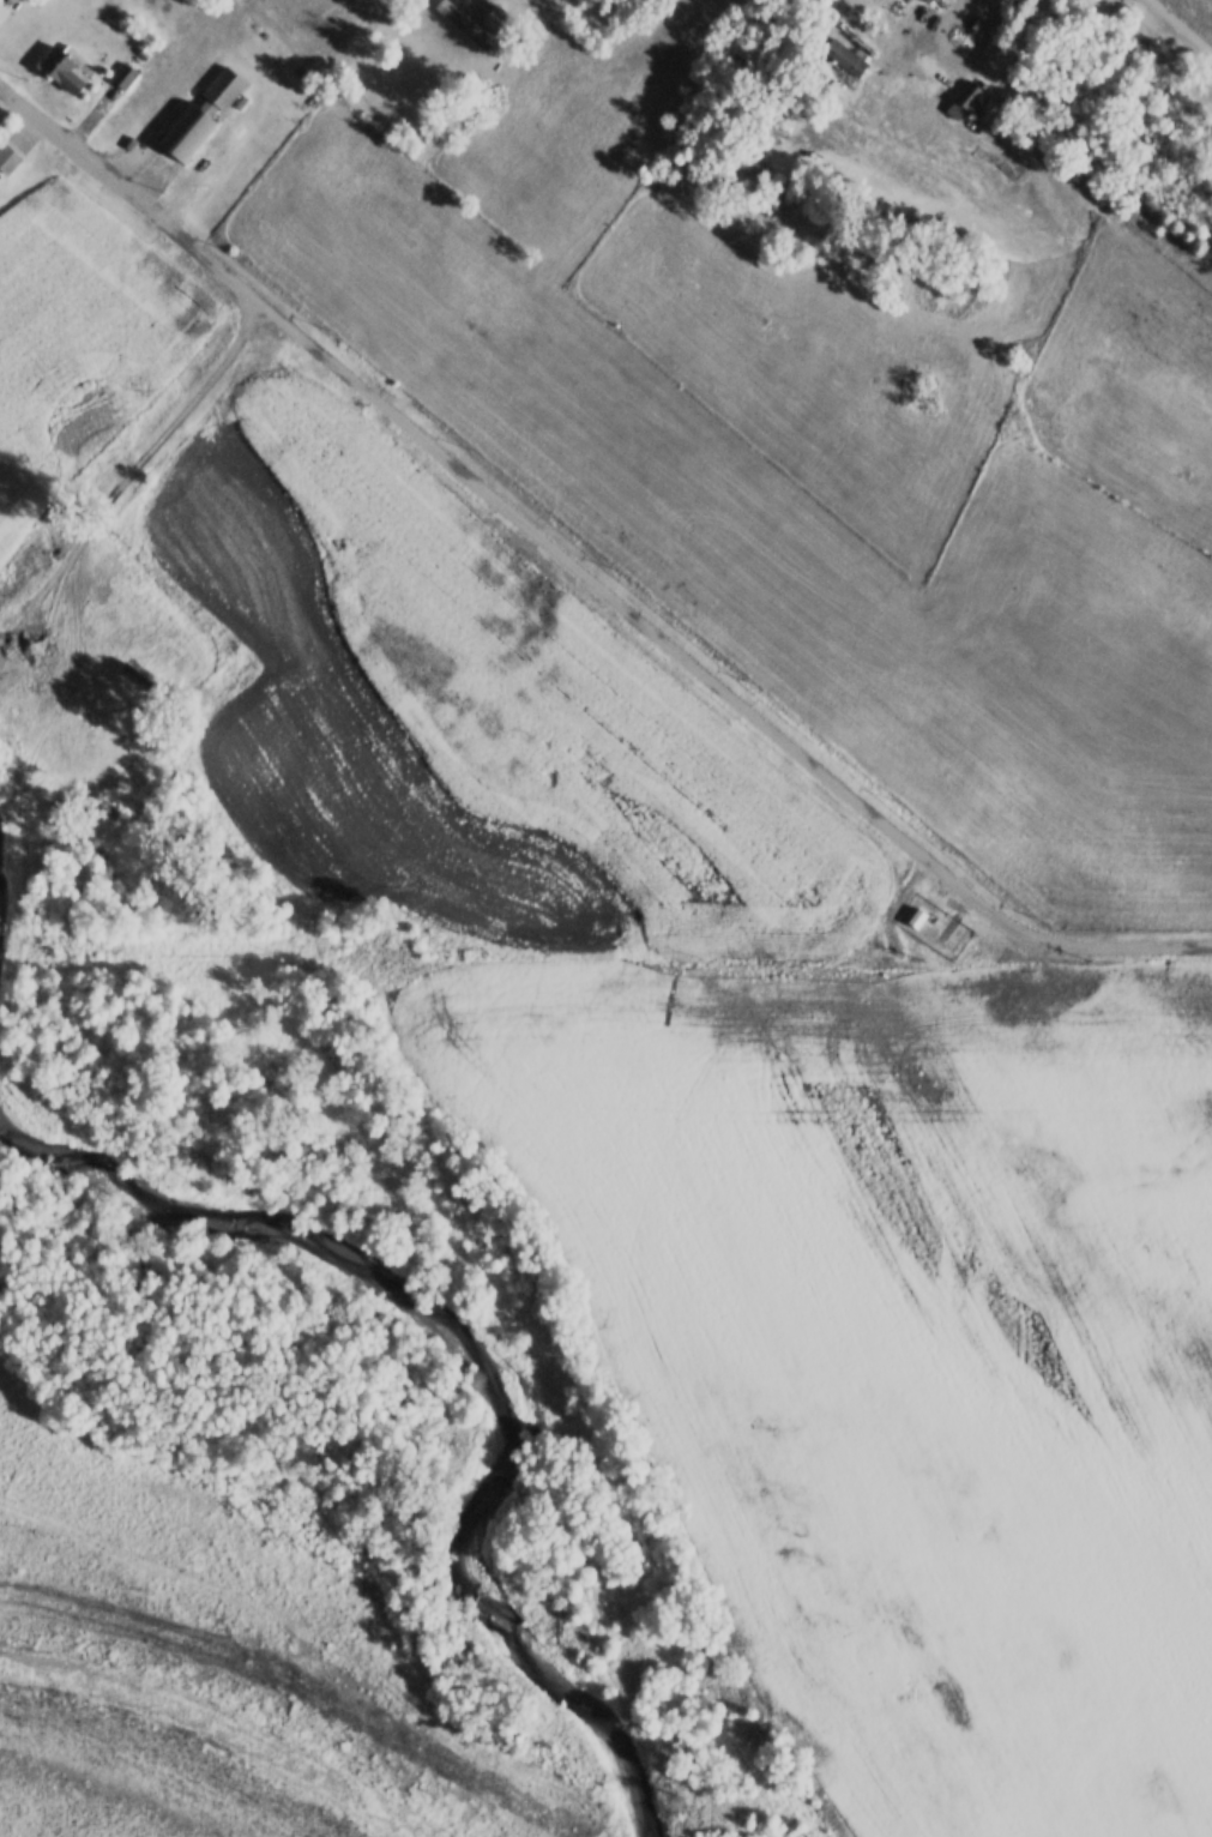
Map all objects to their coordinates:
building: (925, 1)
building: (1, 6)
building: (0, 10)
building: (500, 16)
building: (463, 22)
road: (1181, 25)
building: (843, 55)
building: (60, 67)
building: (123, 73)
building: (967, 98)
building: (201, 113)
road: (35, 116)
building: (6, 156)
building: (204, 163)
road: (488, 495)
road: (988, 913)
road: (1147, 948)
river: (375, 1254)

